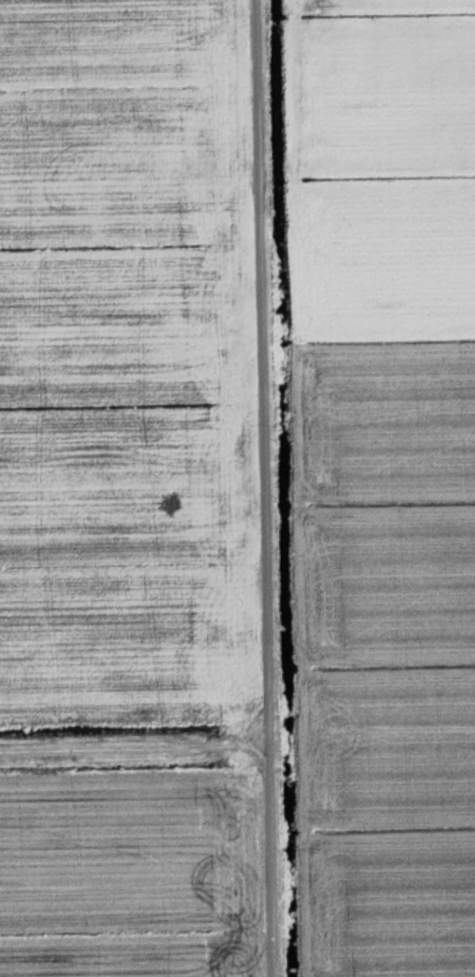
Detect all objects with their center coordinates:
crop: (384, 480)
road: (249, 488)
road: (125, 751)
crop: (133, 874)

